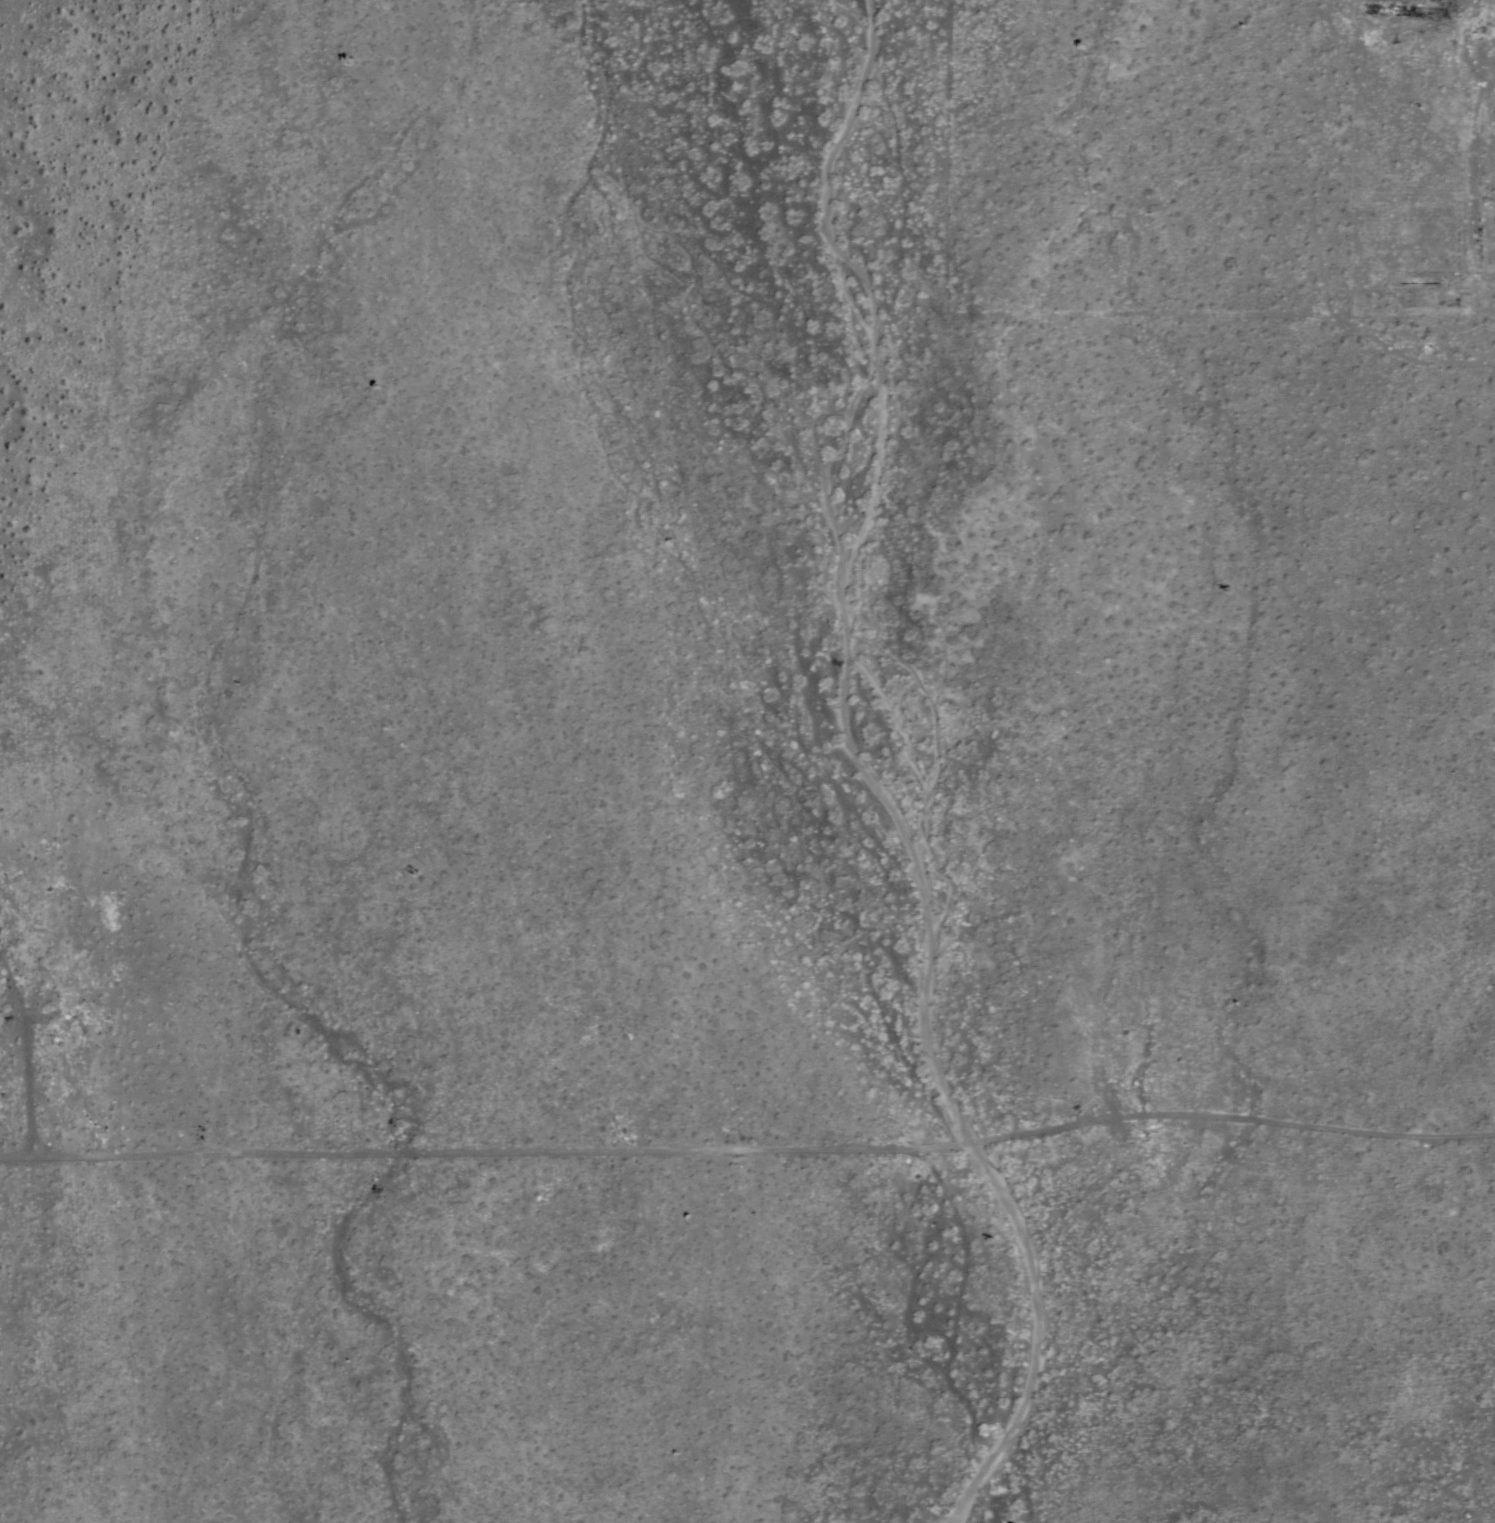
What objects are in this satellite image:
road: (747, 1145)

